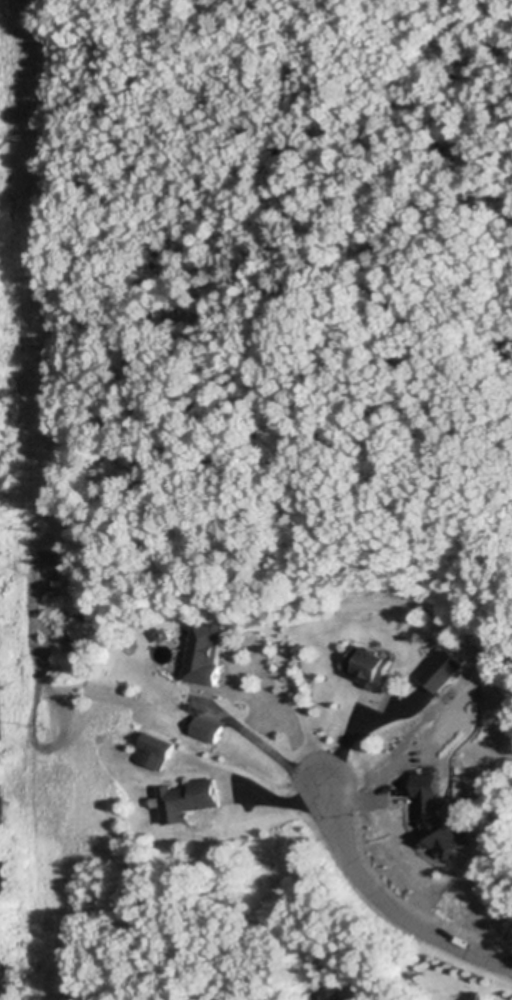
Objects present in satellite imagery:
power tower: (32, 138)
power tower: (37, 529)
building: (165, 631)
building: (205, 651)
building: (369, 666)
building: (444, 669)
building: (421, 700)
building: (208, 728)
road: (356, 737)
building: (160, 743)
road: (273, 758)
road: (254, 794)
building: (189, 798)
building: (438, 818)
road: (388, 910)
power tower: (48, 927)

